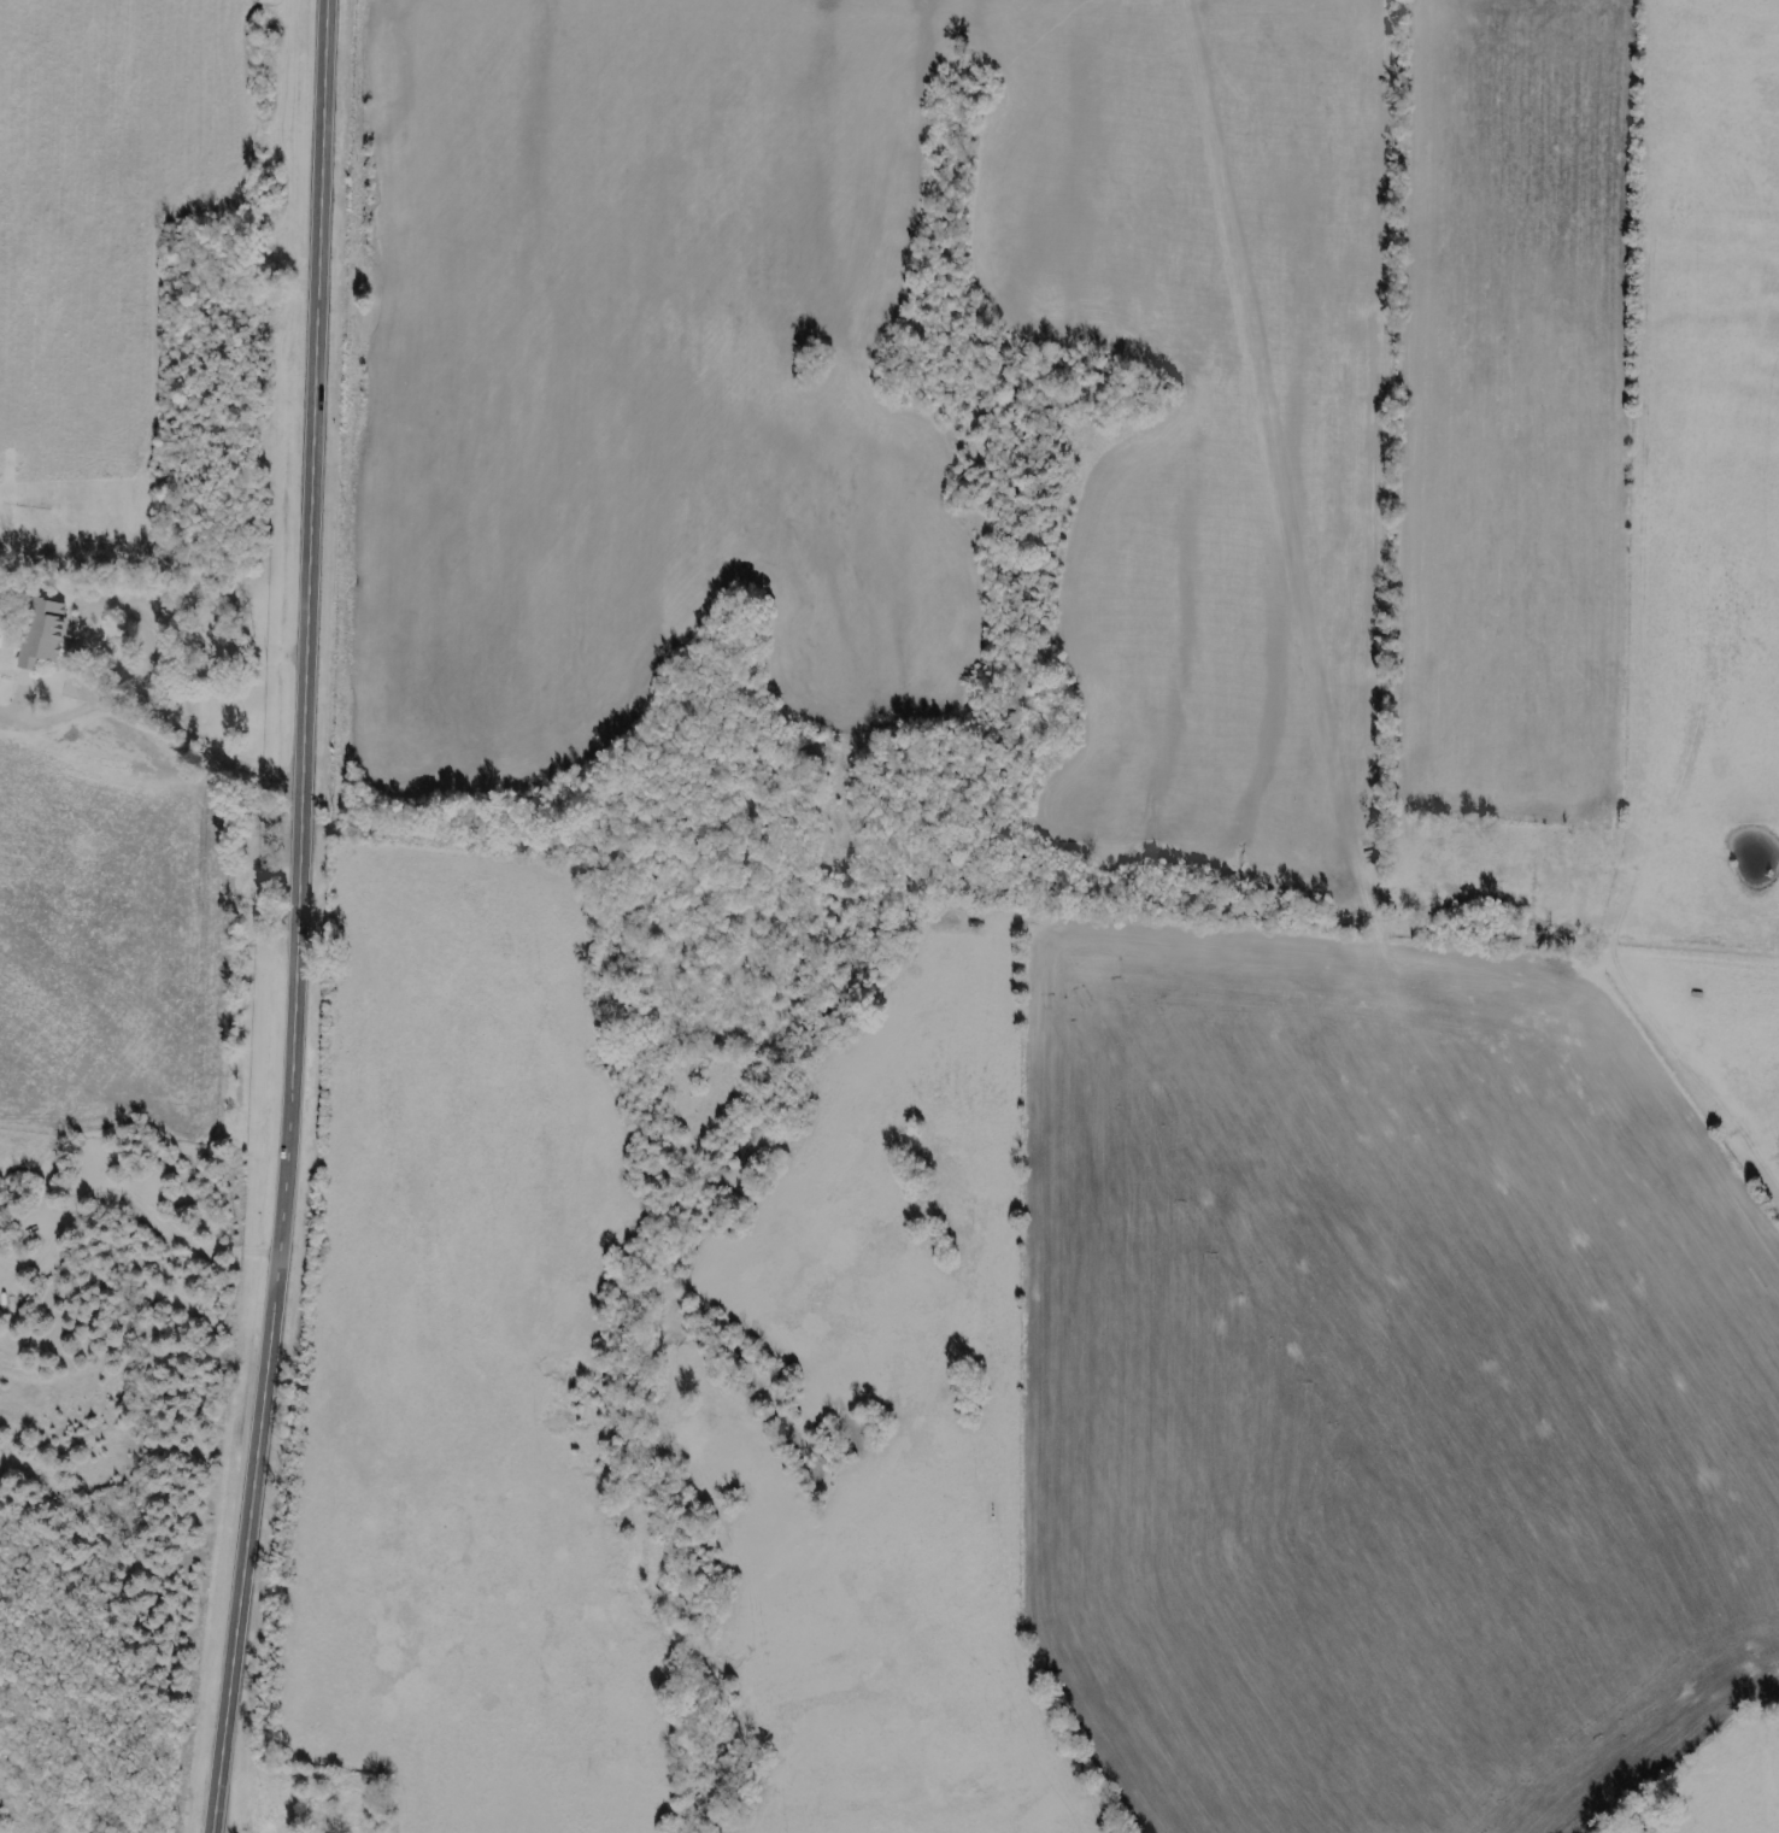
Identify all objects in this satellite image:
building: (48, 631)
road: (96, 677)
road: (296, 918)

